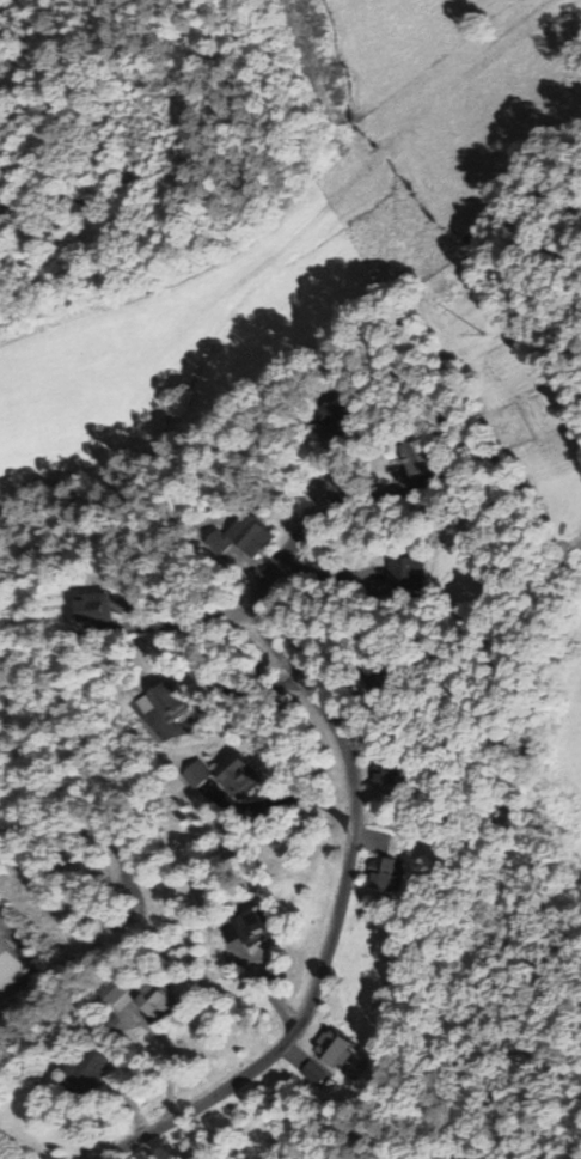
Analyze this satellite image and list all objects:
power tower: (475, 340)
building: (331, 414)
building: (421, 455)
building: (245, 535)
building: (406, 573)
building: (93, 606)
building: (166, 699)
building: (383, 769)
building: (196, 773)
building: (236, 774)
road: (330, 868)
building: (381, 871)
building: (250, 922)
building: (8, 968)
building: (151, 998)
building: (334, 1048)
building: (84, 1070)

